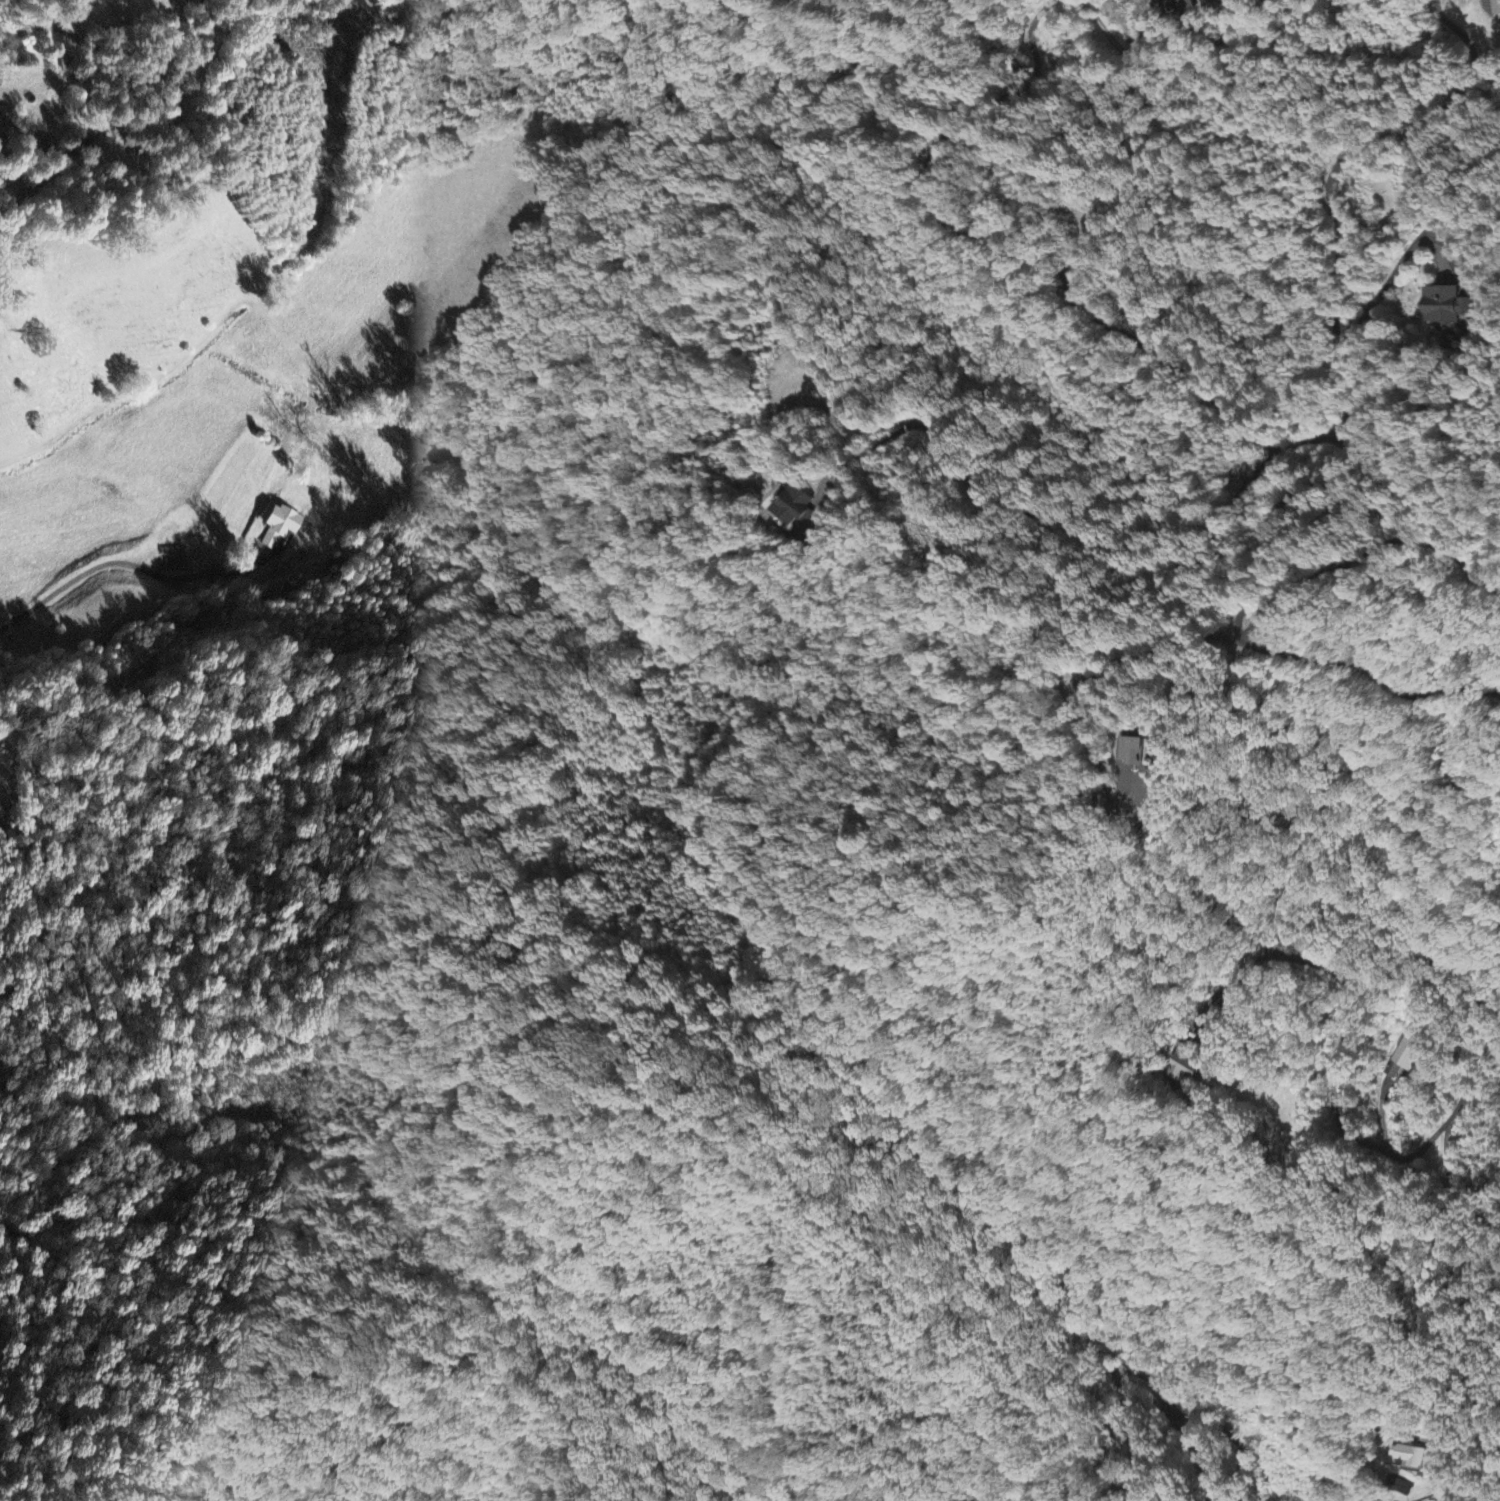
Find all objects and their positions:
building: (1183, 5)
building: (1497, 8)
building: (66, 63)
road: (117, 82)
building: (14, 188)
road: (1029, 259)
building: (1447, 307)
road: (1342, 425)
road: (1061, 517)
building: (281, 527)
road: (1348, 562)
road: (102, 564)
building: (1140, 746)
building: (1408, 1055)
building: (1185, 1065)
road: (1332, 1111)
building: (1410, 1459)

